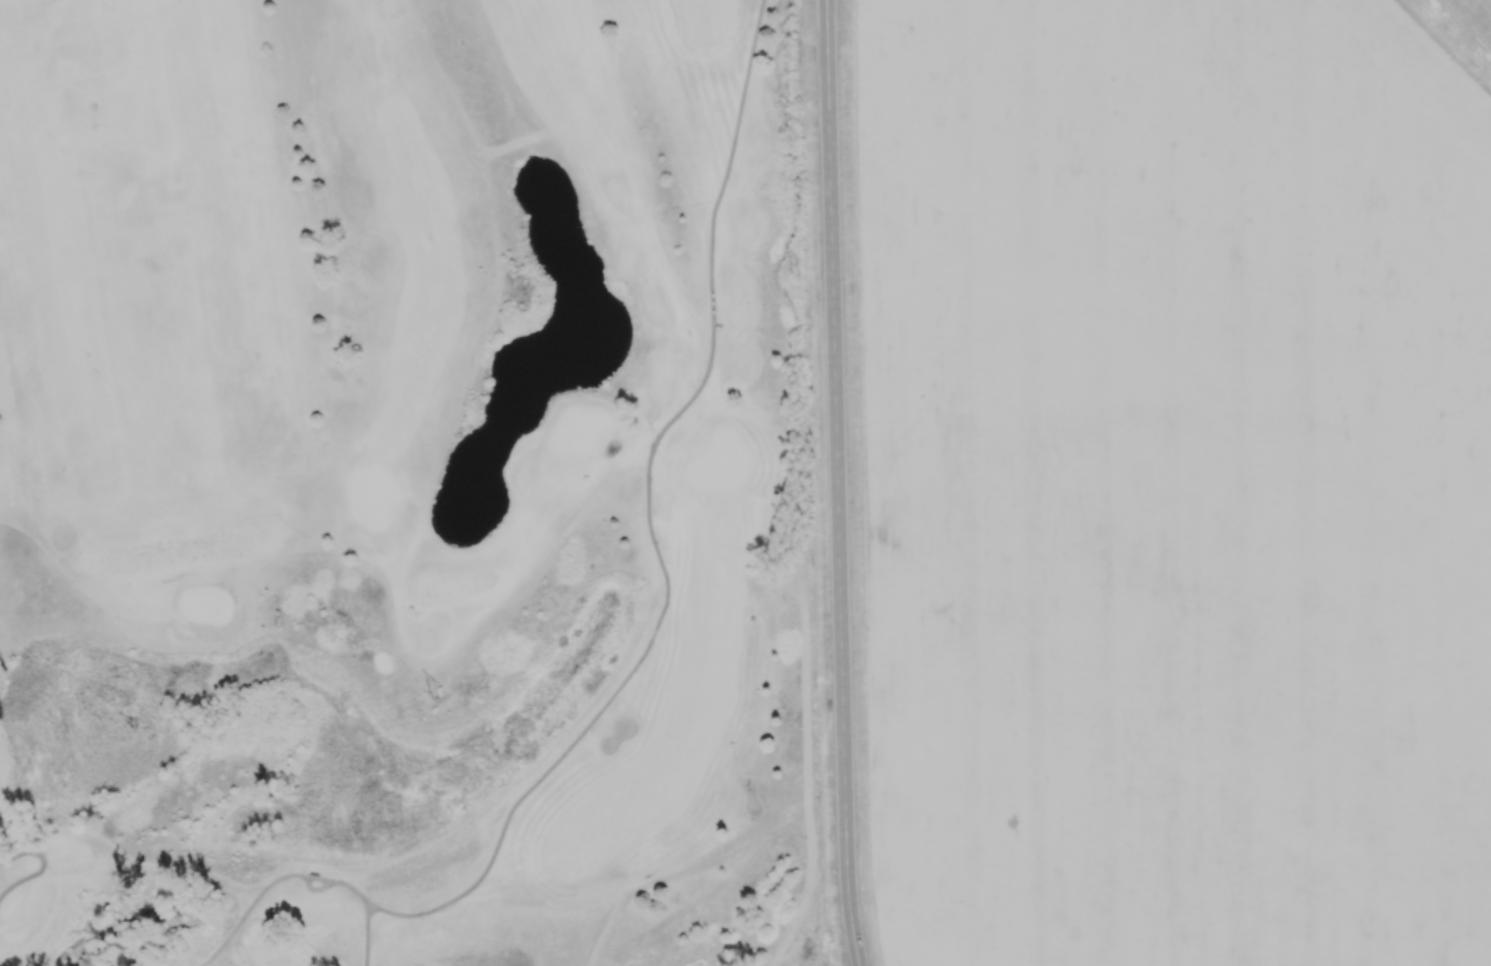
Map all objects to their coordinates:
road: (1465, 24)
power tower: (800, 275)
road: (836, 483)
crop: (1174, 483)
park: (407, 484)
road: (648, 519)
power tower: (439, 695)
road: (42, 866)
road: (318, 878)
road: (314, 889)
road: (353, 889)
road: (248, 909)
road: (366, 935)

